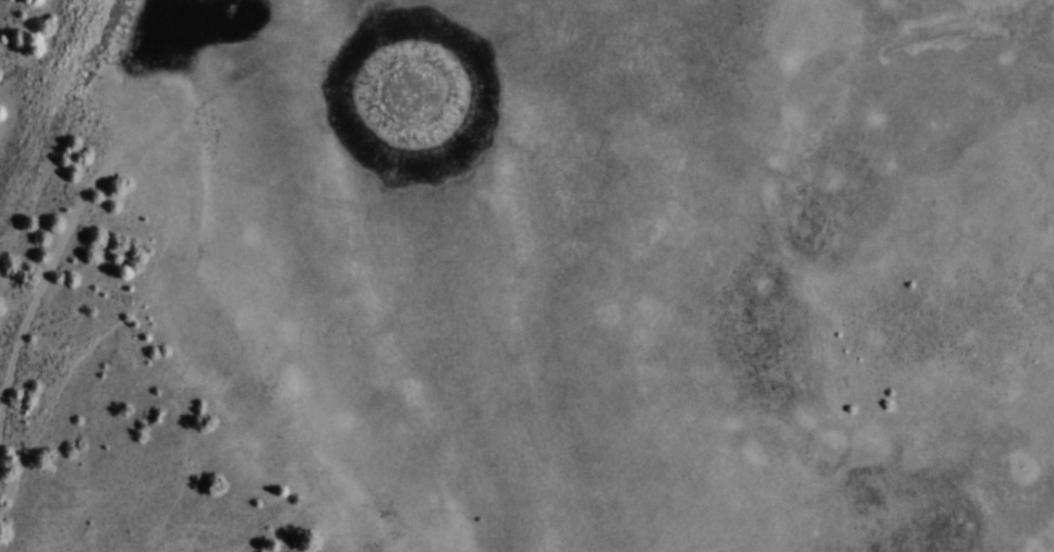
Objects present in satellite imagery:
dam: (73, 126)
road: (46, 263)

